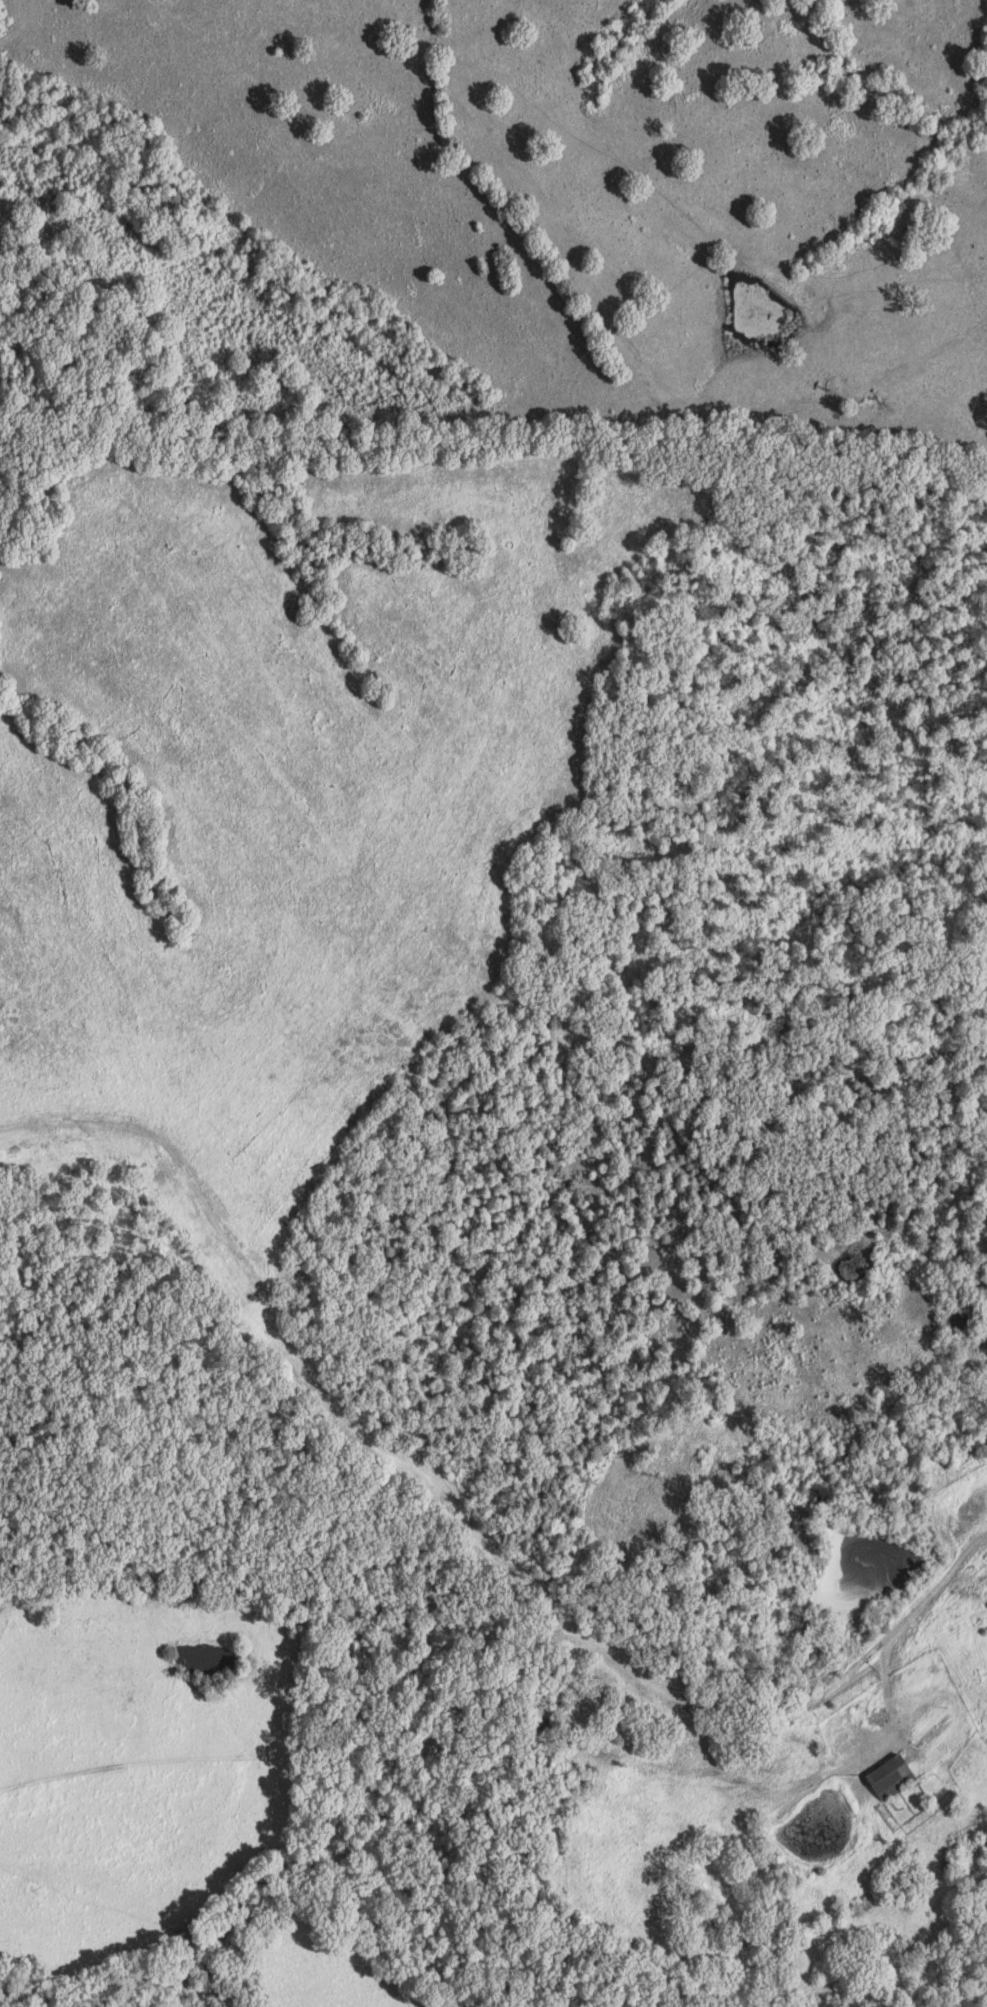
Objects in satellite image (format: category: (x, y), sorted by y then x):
building: (898, 1777)

